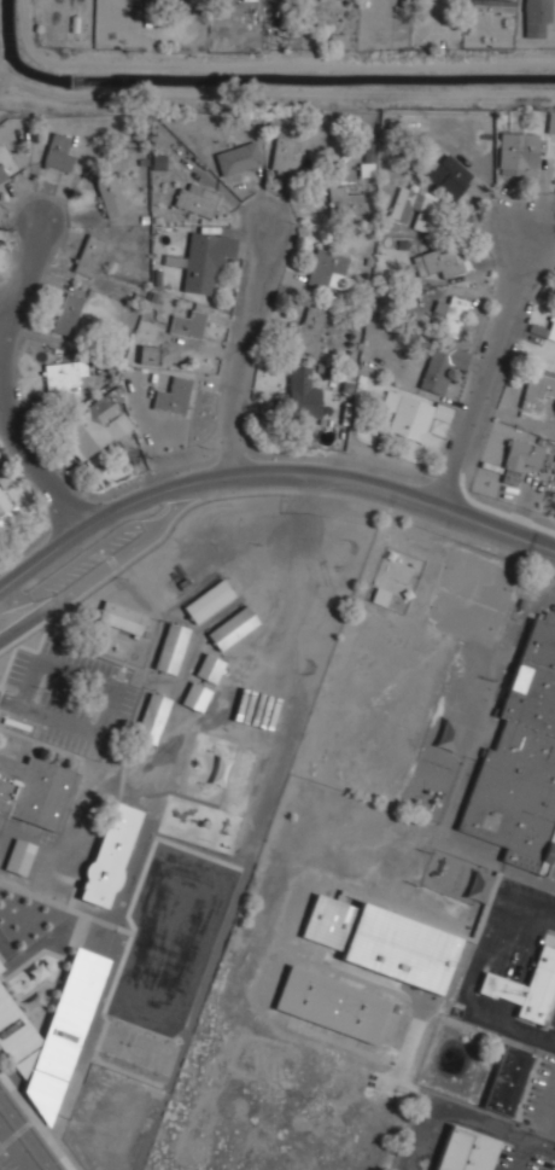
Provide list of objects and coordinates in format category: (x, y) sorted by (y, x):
building: (496, 5)
building: (538, 18)
power tower: (288, 43)
building: (550, 121)
building: (59, 151)
building: (519, 152)
building: (286, 155)
building: (239, 157)
power tower: (311, 157)
building: (2, 173)
building: (448, 175)
building: (111, 196)
building: (197, 197)
building: (345, 199)
building: (416, 206)
building: (89, 254)
building: (205, 260)
building: (439, 260)
building: (174, 261)
building: (328, 268)
building: (68, 313)
building: (451, 314)
building: (189, 321)
building: (550, 326)
building: (308, 328)
road: (5, 334)
road: (247, 334)
building: (148, 354)
road: (493, 363)
building: (442, 366)
building: (64, 377)
road: (8, 382)
building: (537, 389)
building: (302, 390)
building: (173, 394)
building: (410, 414)
building: (90, 426)
building: (524, 454)
road: (268, 476)
building: (6, 508)
road: (164, 518)
parking lot: (87, 559)
road: (74, 563)
park: (477, 580)
road: (84, 581)
building: (209, 599)
road: (11, 600)
building: (122, 616)
park: (463, 617)
building: (233, 627)
building: (171, 647)
building: (210, 668)
road: (115, 689)
building: (195, 694)
parking lot: (71, 699)
road: (8, 702)
building: (152, 716)
building: (521, 761)
building: (33, 790)
building: (110, 854)
building: (19, 855)
road: (526, 908)
park: (171, 937)
building: (382, 941)
building: (0, 970)
building: (526, 986)
road: (471, 990)
building: (332, 1003)
building: (51, 1034)
park: (113, 1038)
road: (545, 1038)
park: (142, 1048)
park: (163, 1057)
building: (509, 1079)
road: (449, 1117)
road: (27, 1133)
road: (528, 1145)
building: (466, 1148)
road: (14, 1151)
parking lot: (13, 1152)

